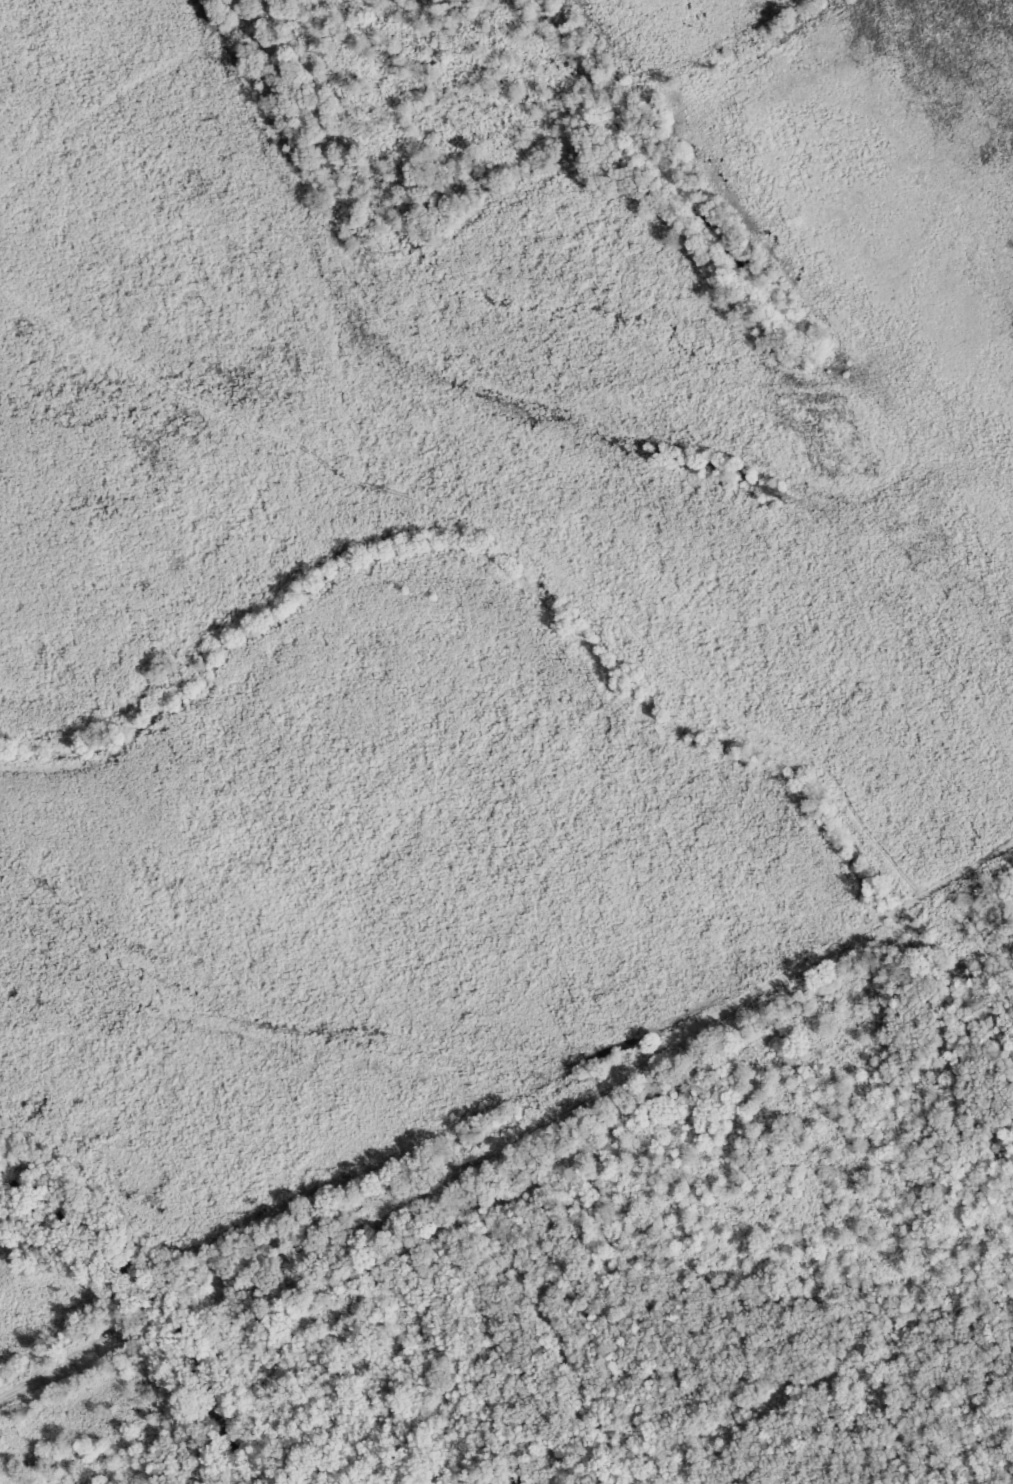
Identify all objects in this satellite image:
road: (615, 1063)
road: (106, 1339)
road: (408, 1420)

